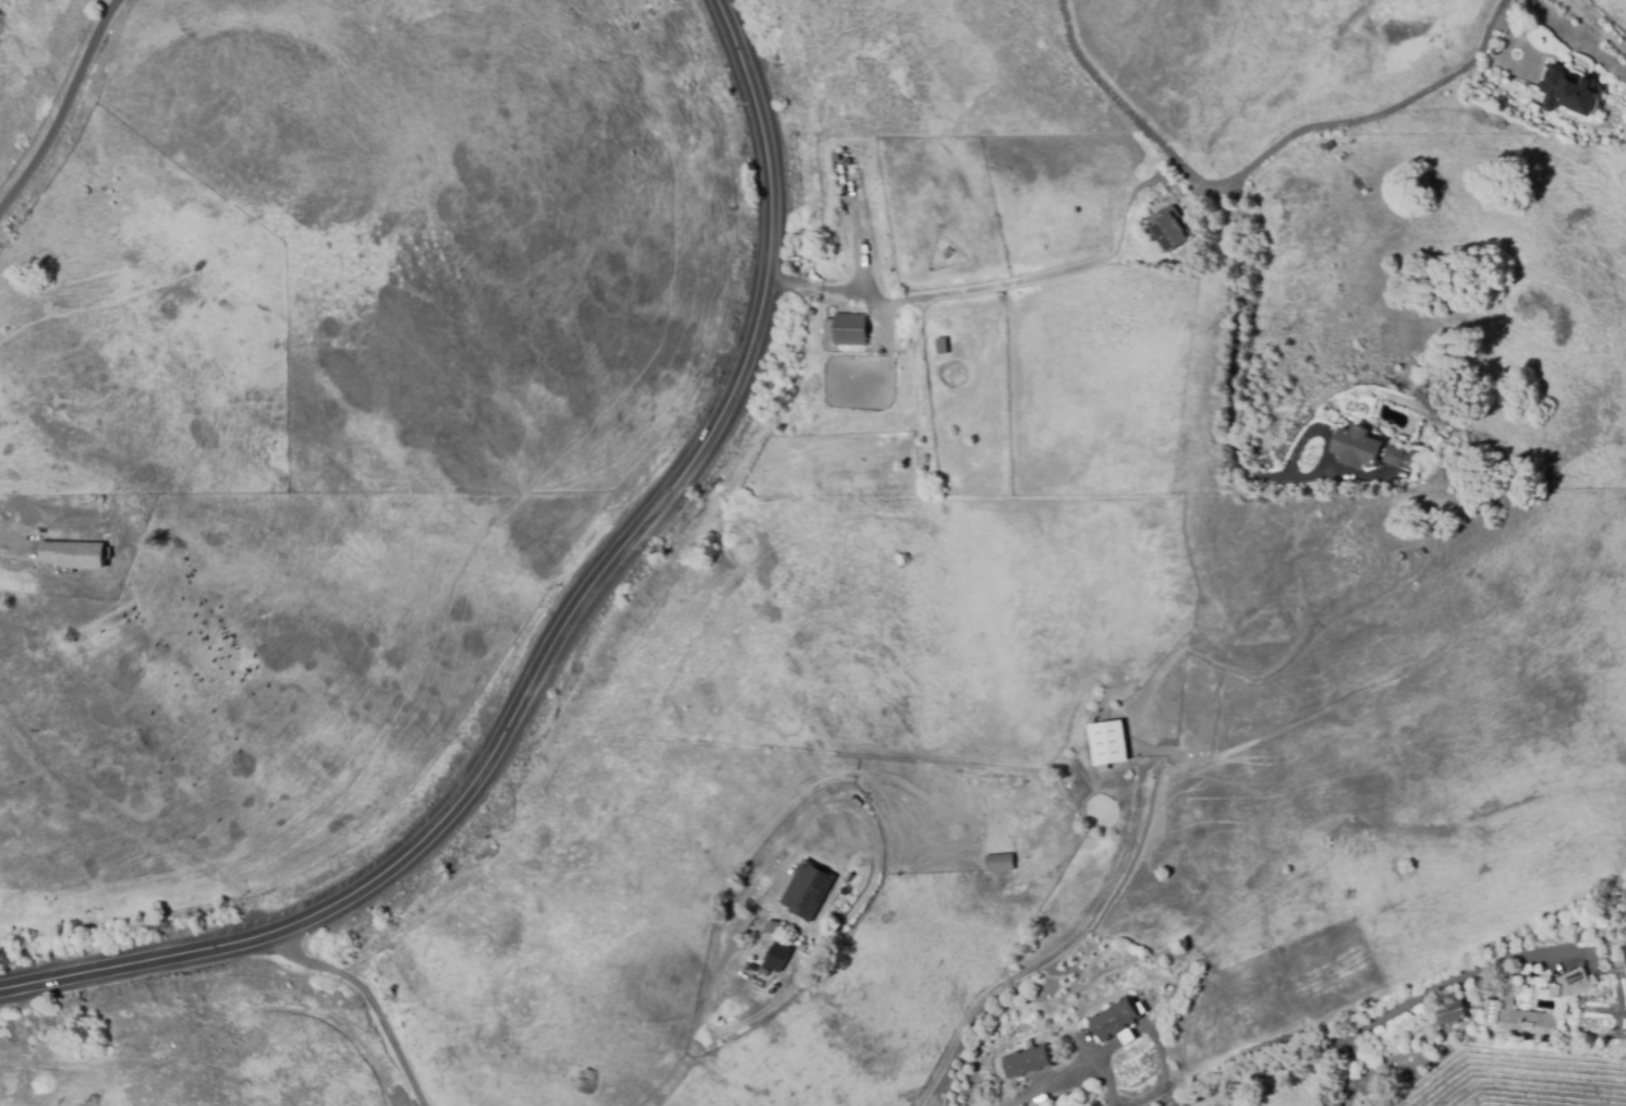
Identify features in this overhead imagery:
building: (1437, 44)
building: (1570, 90)
road: (1123, 102)
road: (65, 110)
road: (1374, 116)
building: (1330, 146)
building: (1156, 189)
building: (1169, 230)
road: (1015, 278)
building: (840, 327)
building: (942, 345)
road: (1231, 367)
building: (1364, 449)
road: (14, 542)
building: (71, 554)
road: (551, 629)
building: (1109, 744)
road: (858, 815)
building: (999, 864)
building: (811, 886)
building: (773, 929)
building: (1624, 951)
building: (780, 955)
building: (1568, 986)
road: (366, 999)
building: (1452, 1011)
building: (1521, 1014)
road: (1381, 1020)
building: (1117, 1023)
road: (1134, 1038)
building: (1027, 1062)
road: (670, 1077)
road: (1107, 1082)

